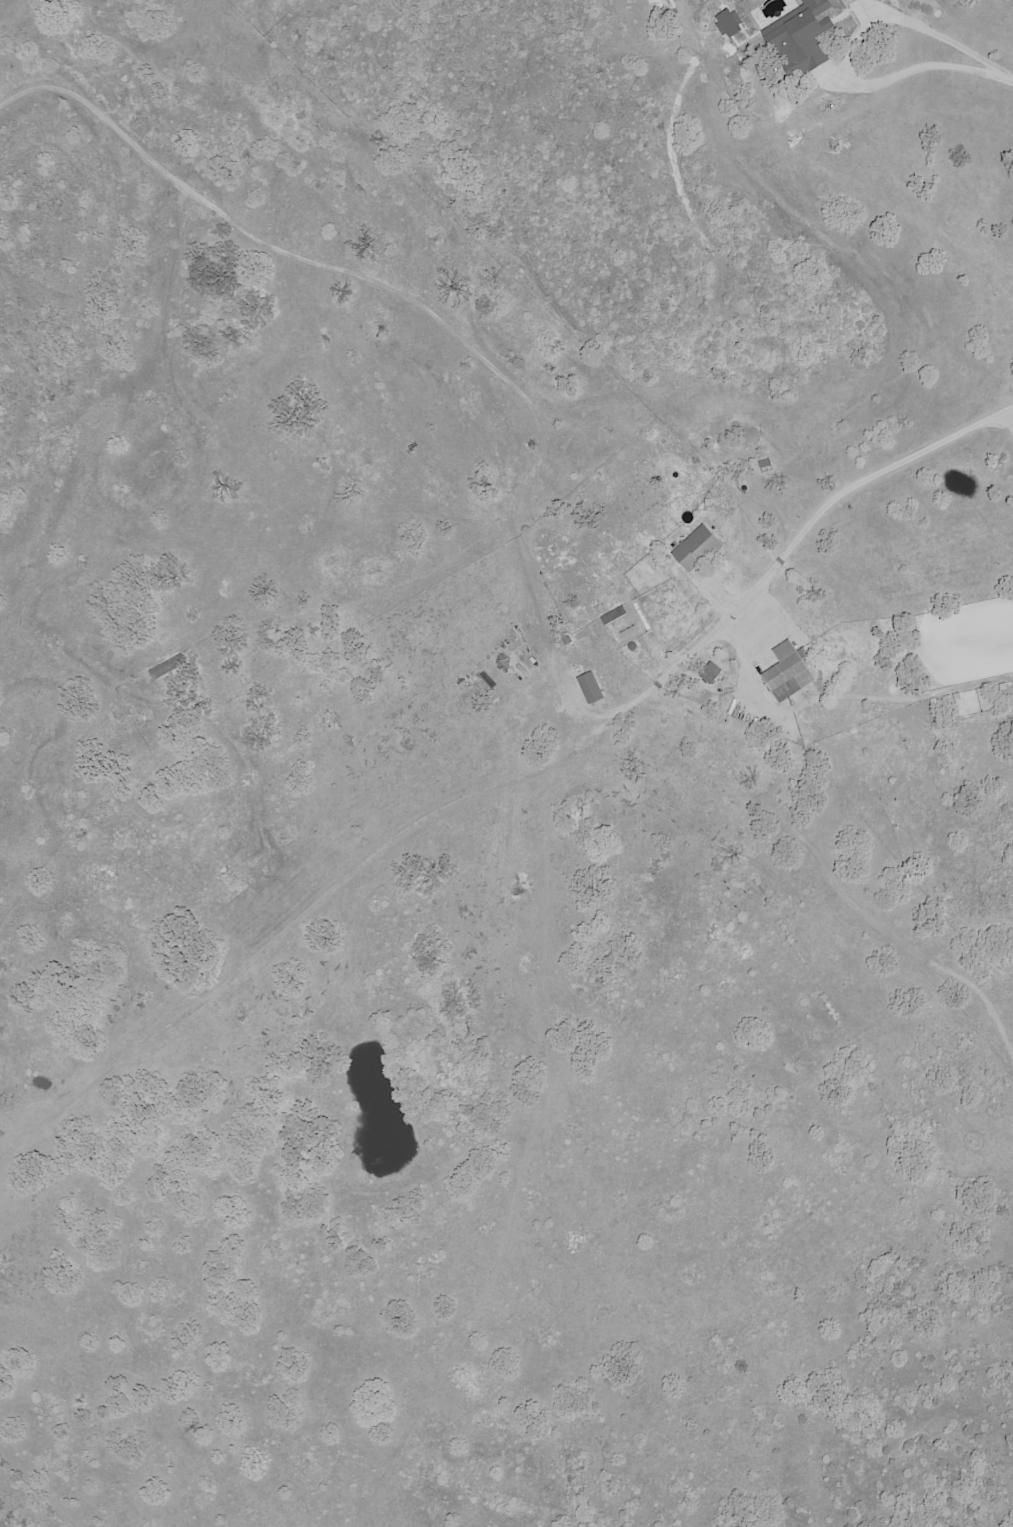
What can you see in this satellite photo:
building: (803, 36)
road: (846, 51)
road: (1010, 80)
road: (1009, 420)
road: (804, 530)
building: (695, 548)
building: (786, 672)
building: (589, 688)

